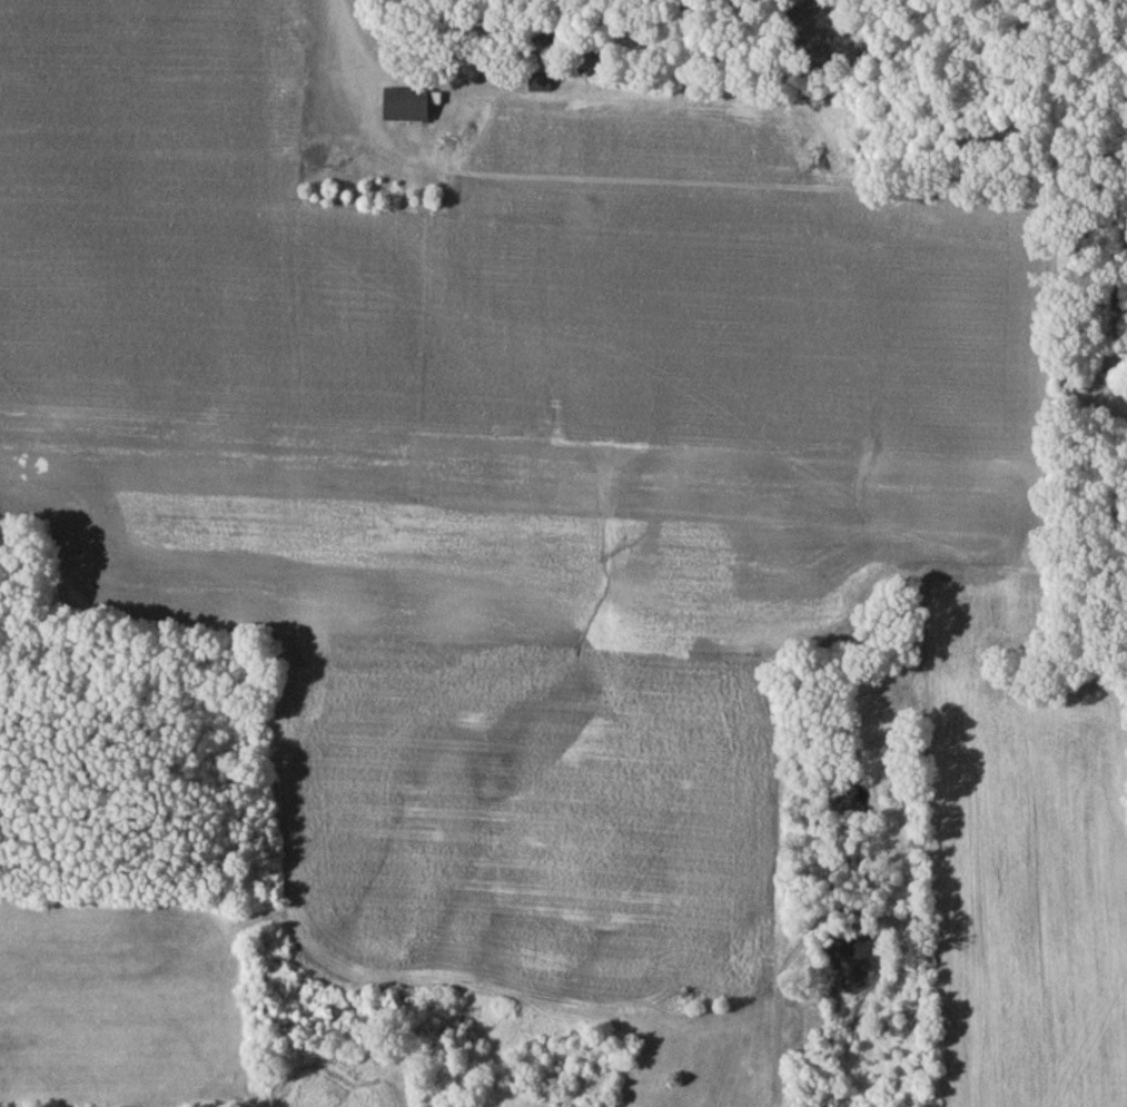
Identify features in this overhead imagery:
road: (339, 40)
building: (407, 108)

